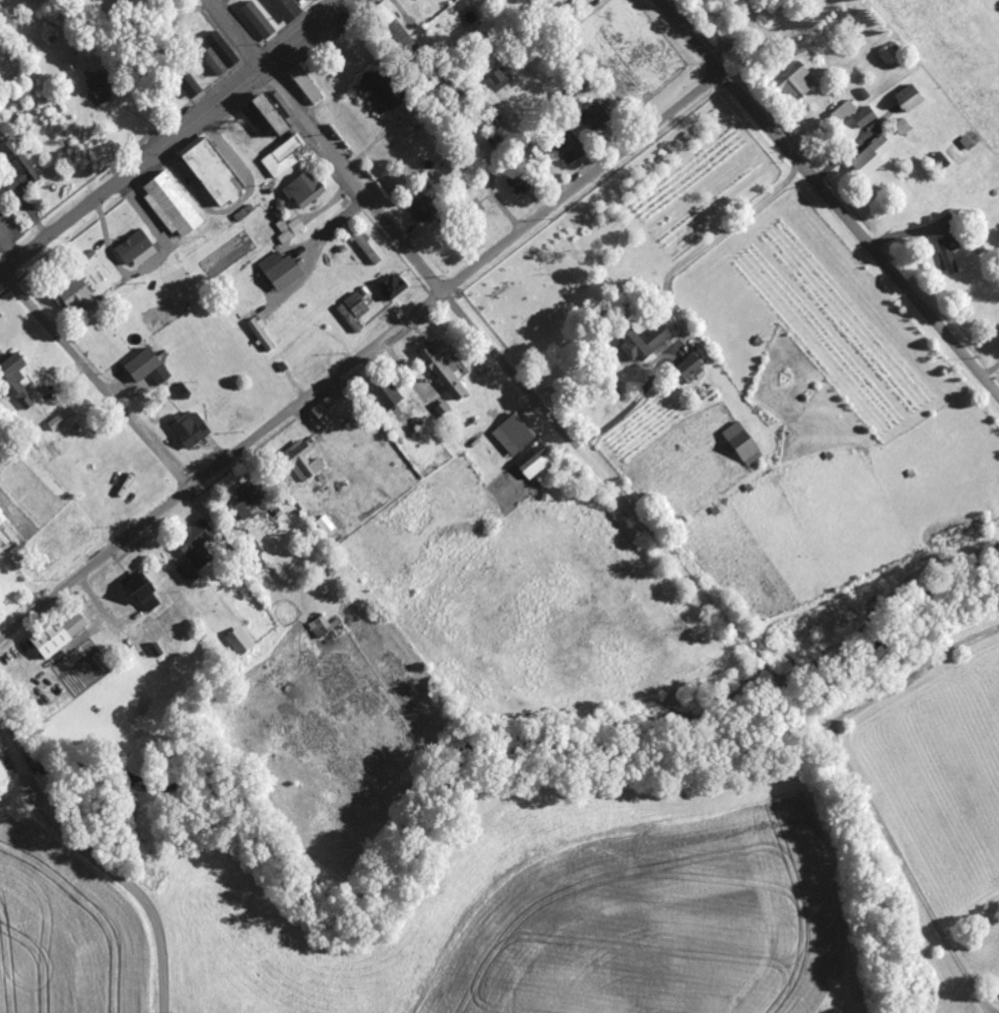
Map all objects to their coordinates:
building: (287, 10)
building: (385, 15)
building: (260, 23)
road: (237, 33)
road: (308, 34)
building: (893, 54)
building: (219, 55)
building: (500, 81)
building: (795, 83)
building: (190, 86)
building: (307, 86)
building: (102, 88)
building: (379, 91)
building: (910, 100)
building: (844, 113)
building: (266, 115)
building: (596, 118)
building: (866, 118)
building: (569, 150)
building: (283, 158)
building: (873, 159)
building: (942, 163)
road: (132, 170)
building: (213, 171)
building: (21, 173)
building: (523, 182)
road: (583, 184)
building: (306, 191)
road: (828, 199)
building: (173, 206)
building: (423, 208)
building: (291, 230)
building: (367, 247)
building: (137, 250)
building: (950, 253)
building: (282, 272)
road: (425, 273)
building: (394, 287)
building: (77, 298)
building: (355, 312)
building: (644, 344)
building: (148, 369)
building: (445, 369)
building: (691, 371)
building: (17, 382)
road: (94, 382)
building: (184, 392)
building: (388, 396)
building: (334, 412)
building: (61, 421)
building: (190, 430)
building: (514, 437)
building: (744, 445)
building: (303, 463)
building: (535, 463)
road: (221, 466)
building: (248, 502)
building: (327, 526)
building: (197, 546)
building: (252, 558)
building: (188, 575)
building: (141, 593)
building: (74, 622)
building: (325, 628)
building: (51, 641)
building: (241, 643)
road: (929, 754)
road: (101, 860)

